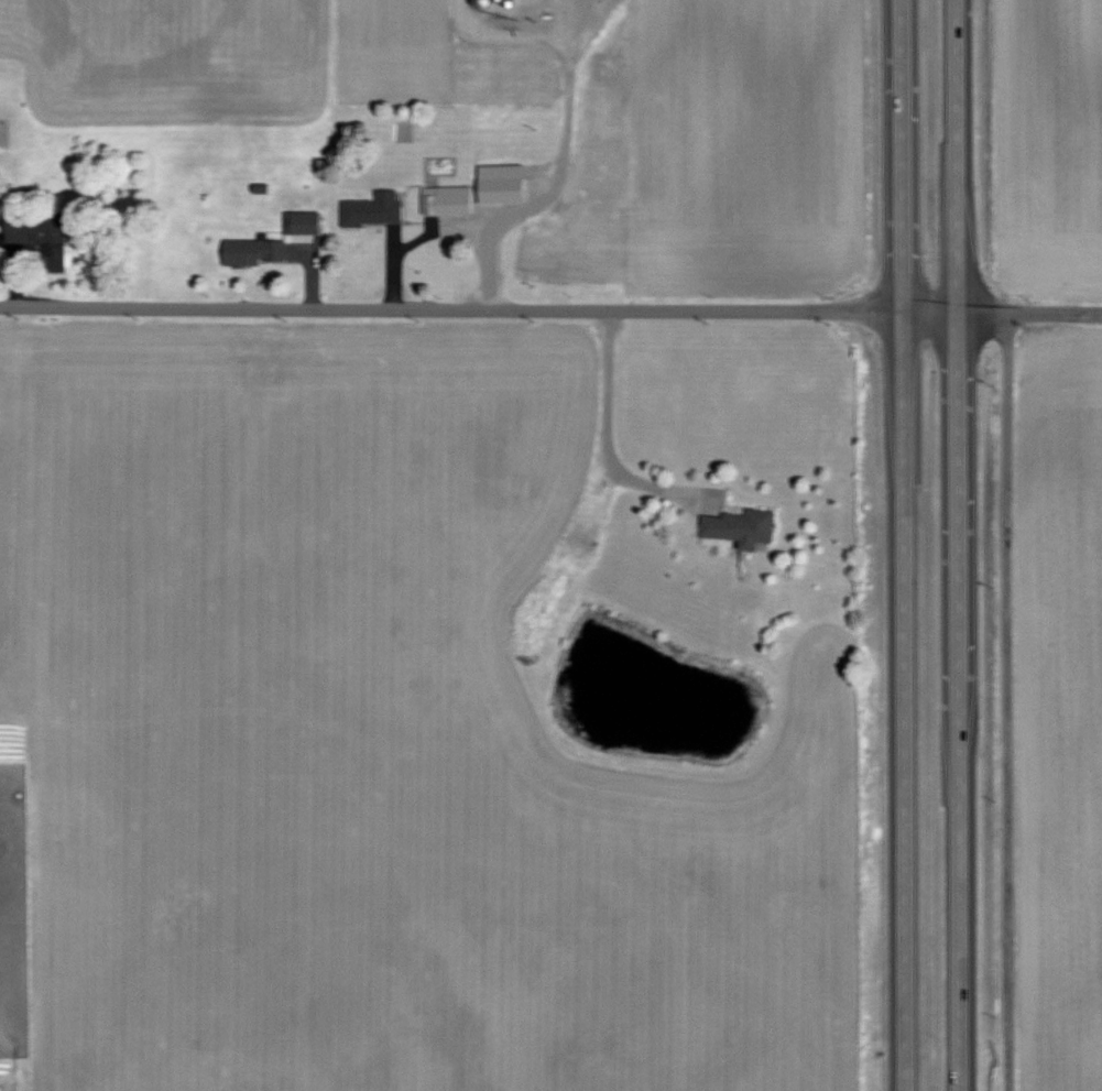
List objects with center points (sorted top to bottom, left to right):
building: (480, 3)
building: (508, 4)
road: (899, 155)
road: (958, 156)
road: (557, 173)
building: (594, 177)
building: (500, 183)
building: (445, 199)
building: (373, 209)
building: (41, 233)
building: (253, 251)
road: (450, 309)
road: (929, 313)
road: (1029, 314)
road: (605, 428)
building: (740, 527)
road: (901, 700)
road: (958, 701)
road: (1006, 702)

